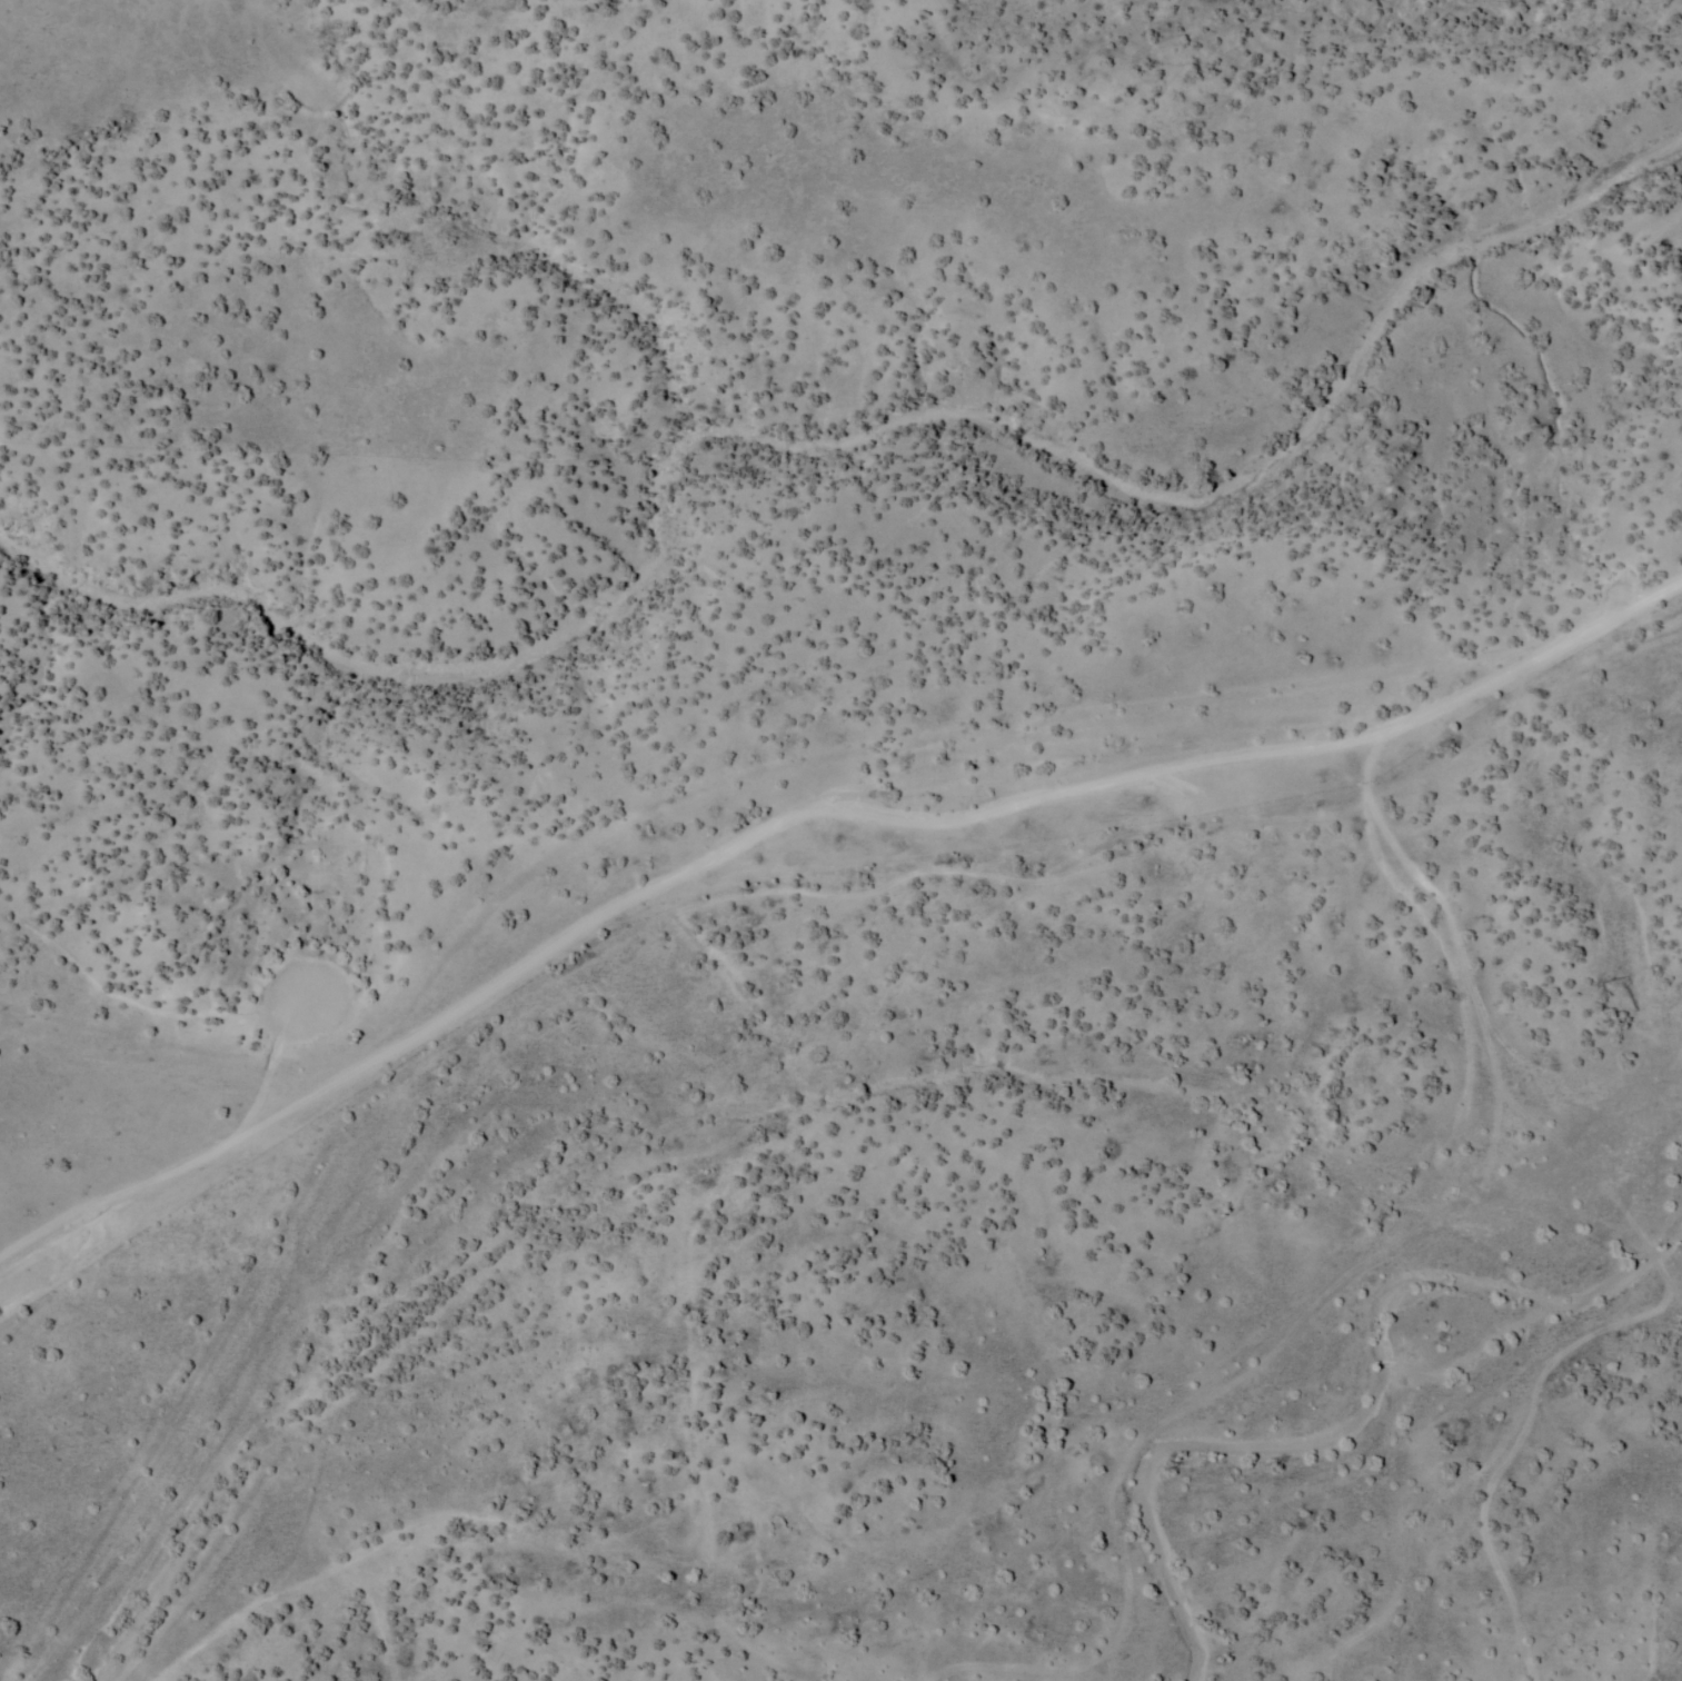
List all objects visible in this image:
road: (830, 823)
road: (1630, 1214)

